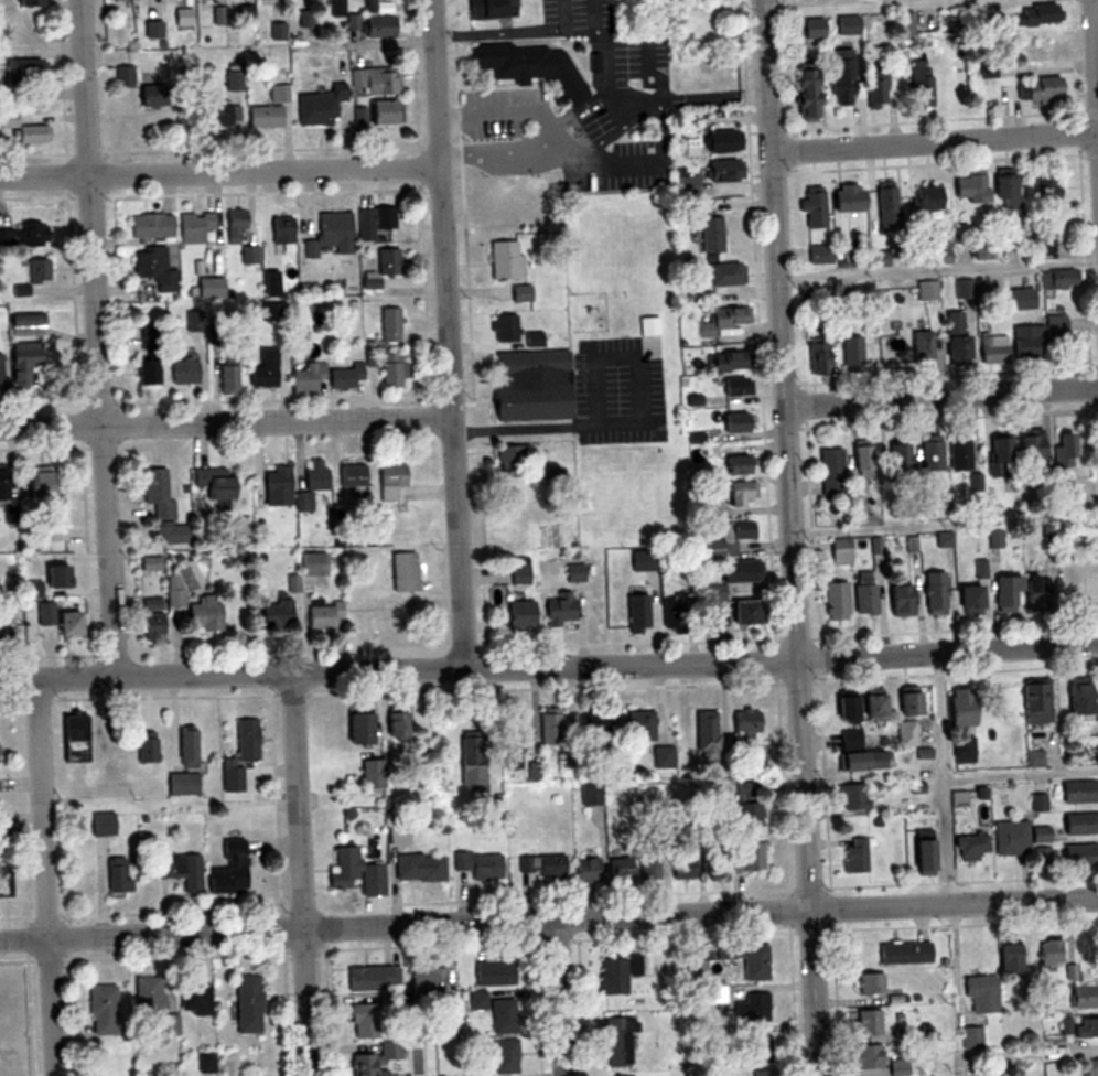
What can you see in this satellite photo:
building: (24, 2)
building: (337, 7)
building: (384, 7)
building: (491, 9)
building: (246, 14)
building: (1037, 14)
building: (183, 19)
road: (1096, 20)
building: (904, 23)
building: (376, 25)
building: (814, 29)
building: (529, 66)
building: (23, 69)
building: (843, 77)
building: (233, 79)
building: (375, 80)
building: (918, 83)
building: (137, 86)
building: (876, 87)
building: (1030, 90)
building: (278, 93)
building: (805, 93)
building: (319, 106)
building: (220, 114)
building: (376, 114)
building: (265, 116)
building: (22, 127)
building: (722, 141)
road: (935, 142)
road: (220, 171)
building: (724, 171)
building: (970, 186)
building: (1046, 189)
building: (1002, 190)
building: (928, 197)
building: (846, 198)
building: (812, 207)
building: (886, 208)
building: (378, 225)
building: (150, 226)
building: (195, 226)
building: (282, 230)
building: (23, 235)
building: (240, 235)
building: (710, 235)
building: (330, 236)
building: (983, 250)
building: (943, 254)
building: (819, 255)
building: (879, 259)
building: (505, 261)
building: (154, 268)
building: (39, 271)
building: (724, 275)
building: (1059, 280)
building: (208, 288)
building: (880, 290)
building: (965, 290)
building: (928, 291)
building: (521, 293)
building: (271, 311)
building: (722, 321)
building: (25, 325)
building: (389, 326)
building: (505, 329)
road: (450, 334)
building: (954, 337)
building: (1036, 337)
road: (99, 338)
building: (652, 347)
building: (921, 349)
building: (992, 351)
building: (887, 353)
building: (851, 354)
building: (819, 358)
building: (23, 359)
building: (725, 363)
building: (147, 369)
building: (263, 370)
building: (392, 370)
building: (183, 372)
building: (227, 374)
building: (0, 377)
building: (345, 377)
building: (305, 378)
building: (534, 383)
building: (731, 388)
road: (943, 396)
road: (227, 422)
building: (733, 422)
building: (1030, 449)
building: (1065, 450)
building: (959, 453)
building: (930, 455)
building: (507, 458)
building: (1000, 458)
building: (900, 461)
building: (863, 462)
building: (738, 465)
building: (831, 471)
building: (352, 475)
building: (390, 481)
building: (37, 483)
building: (312, 484)
building: (4, 486)
building: (218, 487)
building: (276, 487)
building: (158, 493)
building: (741, 493)
building: (56, 531)
building: (729, 537)
road: (793, 537)
building: (944, 539)
building: (840, 551)
building: (150, 563)
building: (646, 564)
building: (740, 571)
building: (403, 572)
building: (519, 575)
building: (47, 581)
building: (1066, 587)
building: (174, 590)
building: (1033, 592)
building: (934, 593)
building: (1004, 593)
building: (863, 594)
building: (966, 599)
building: (835, 601)
building: (897, 601)
building: (152, 604)
building: (558, 610)
building: (670, 613)
building: (743, 613)
building: (274, 614)
building: (518, 614)
building: (637, 614)
building: (203, 617)
building: (323, 617)
building: (57, 622)
building: (7, 628)
building: (151, 628)
road: (549, 667)
building: (1077, 699)
building: (1033, 702)
building: (905, 704)
building: (870, 707)
building: (960, 709)
building: (844, 711)
building: (396, 725)
building: (745, 725)
building: (549, 727)
building: (639, 728)
building: (356, 730)
building: (592, 731)
building: (906, 734)
building: (707, 735)
building: (851, 739)
building: (246, 740)
building: (147, 747)
building: (186, 750)
building: (965, 751)
building: (513, 755)
building: (1034, 758)
building: (470, 762)
building: (859, 762)
building: (373, 774)
building: (232, 781)
road: (959, 782)
building: (182, 784)
building: (1078, 792)
building: (591, 795)
building: (850, 798)
building: (958, 799)
building: (747, 815)
building: (1078, 824)
building: (2, 825)
building: (100, 825)
building: (1041, 835)
building: (1010, 838)
building: (971, 848)
building: (855, 856)
building: (1077, 856)
building: (747, 858)
building: (919, 858)
building: (648, 864)
building: (481, 865)
building: (543, 867)
building: (419, 868)
building: (682, 868)
building: (229, 869)
building: (620, 869)
building: (586, 870)
building: (181, 871)
building: (356, 873)
road: (301, 874)
building: (117, 875)
road: (46, 876)
building: (4, 882)
road: (549, 919)
building: (1051, 950)
building: (904, 953)
building: (1009, 959)
building: (747, 960)
building: (696, 971)
building: (494, 975)
building: (613, 976)
building: (373, 978)
building: (429, 981)
building: (870, 983)
building: (148, 993)
building: (981, 994)
building: (194, 996)
building: (713, 996)
building: (1084, 997)
road: (560, 998)
building: (481, 1001)
building: (246, 1004)
building: (752, 1008)
building: (103, 1010)
building: (503, 1015)
building: (364, 1021)
building: (865, 1023)
building: (170, 1024)
building: (1086, 1029)
building: (971, 1039)
building: (617, 1042)
building: (758, 1048)
building: (866, 1057)
building: (499, 1059)
building: (375, 1061)
building: (897, 1067)
building: (1089, 1068)
building: (763, 1073)

